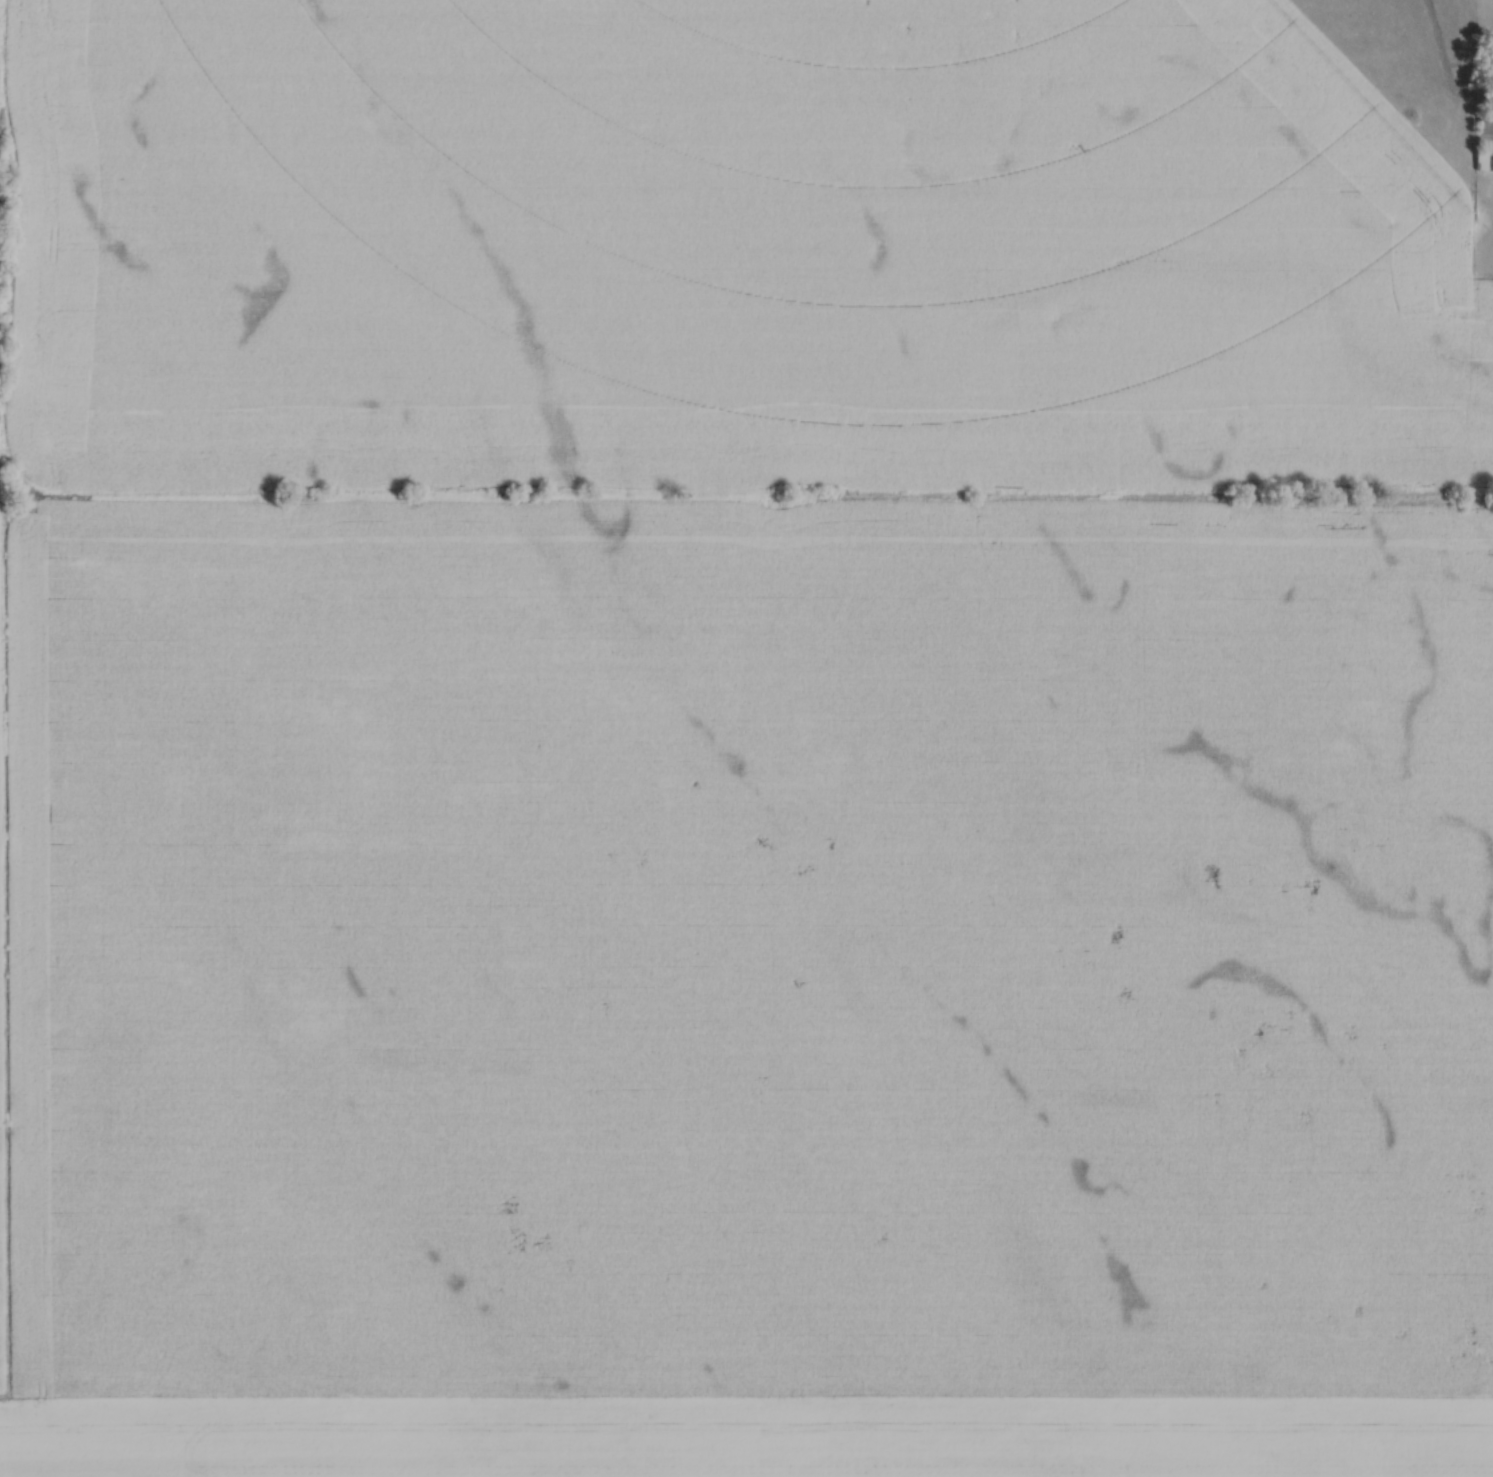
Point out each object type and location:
building: (1484, 160)

